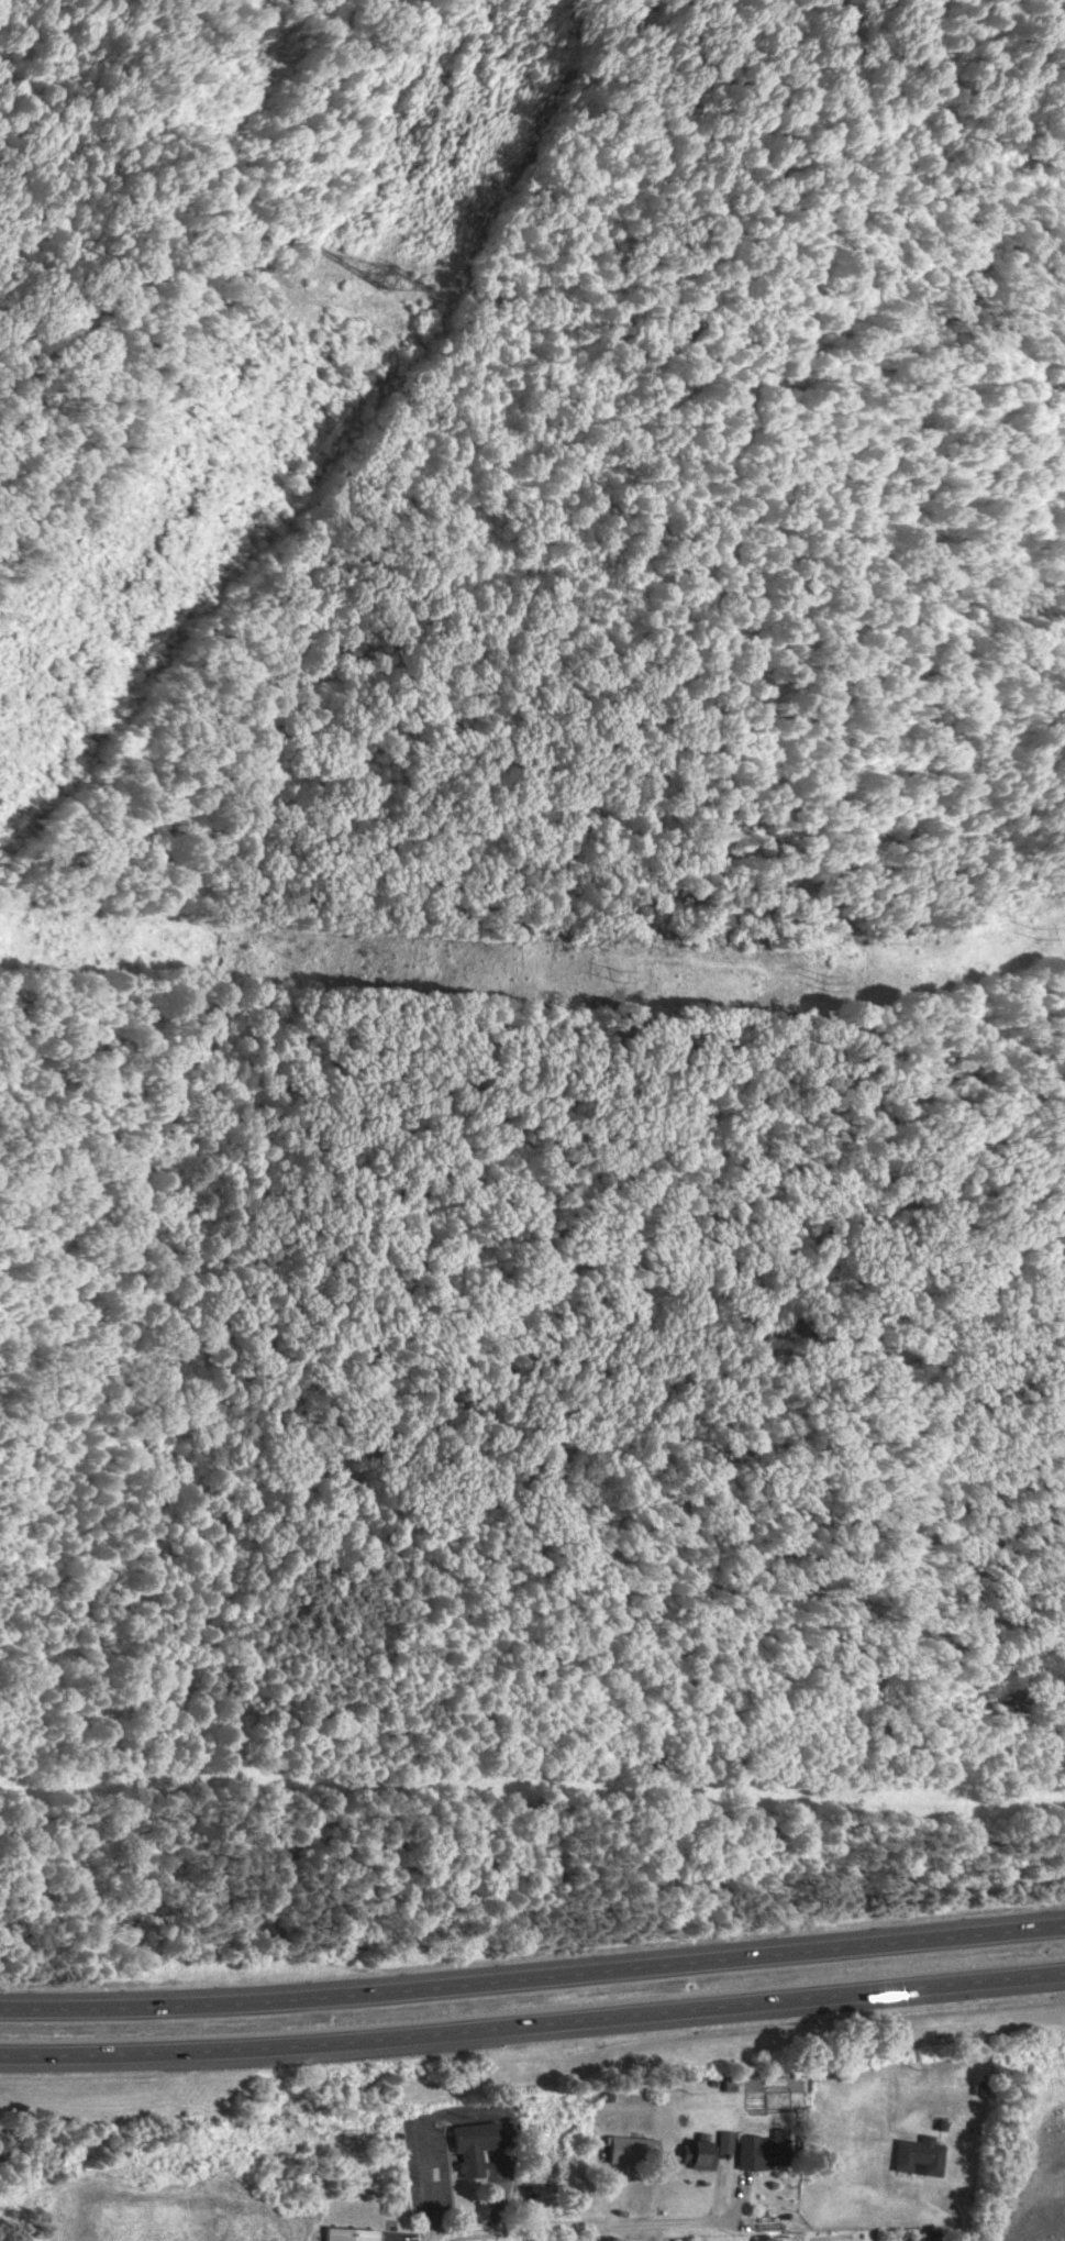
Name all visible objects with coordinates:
power tower: (378, 276)
road: (529, 286)
building: (521, 1975)
road: (533, 1981)
road: (533, 2032)
building: (472, 2146)
building: (629, 2151)
building: (763, 2152)
building: (696, 2155)
building: (918, 2156)
road: (580, 2223)
building: (346, 2234)

